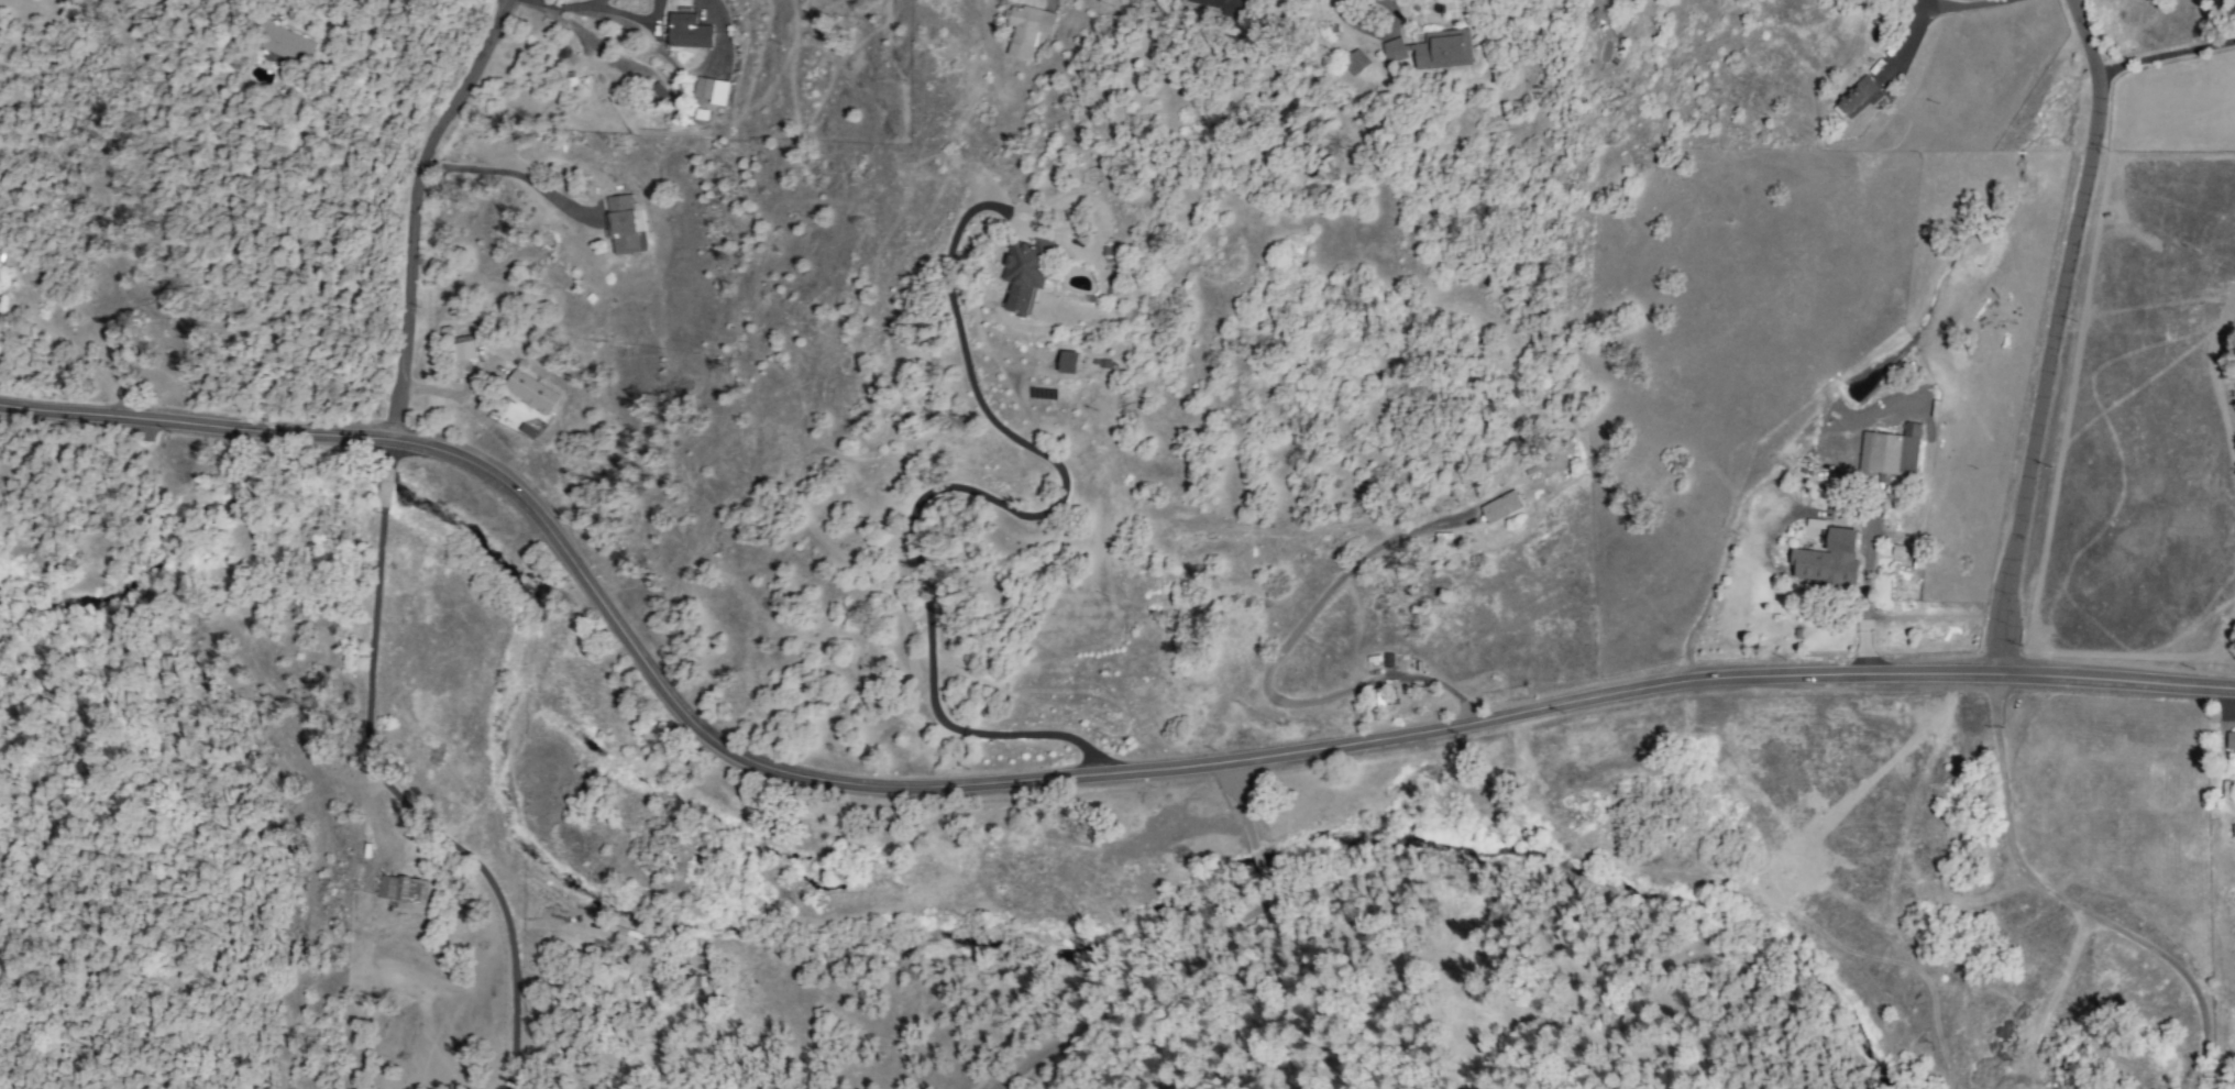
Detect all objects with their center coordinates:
road: (601, 1)
road: (570, 5)
building: (1224, 5)
road: (1926, 11)
road: (634, 16)
building: (1026, 29)
building: (687, 31)
road: (1376, 32)
building: (283, 41)
building: (1433, 50)
building: (1354, 63)
road: (2169, 63)
building: (709, 90)
building: (1854, 99)
road: (505, 172)
road: (409, 205)
building: (623, 226)
building: (1025, 273)
road: (2057, 335)
building: (455, 345)
building: (1068, 362)
building: (519, 386)
building: (1890, 451)
road: (973, 494)
building: (1500, 507)
building: (1815, 524)
building: (1898, 550)
building: (1827, 560)
road: (1863, 606)
road: (1267, 671)
building: (2230, 740)
road: (1050, 781)
road: (386, 785)
building: (401, 889)
road: (2069, 903)

